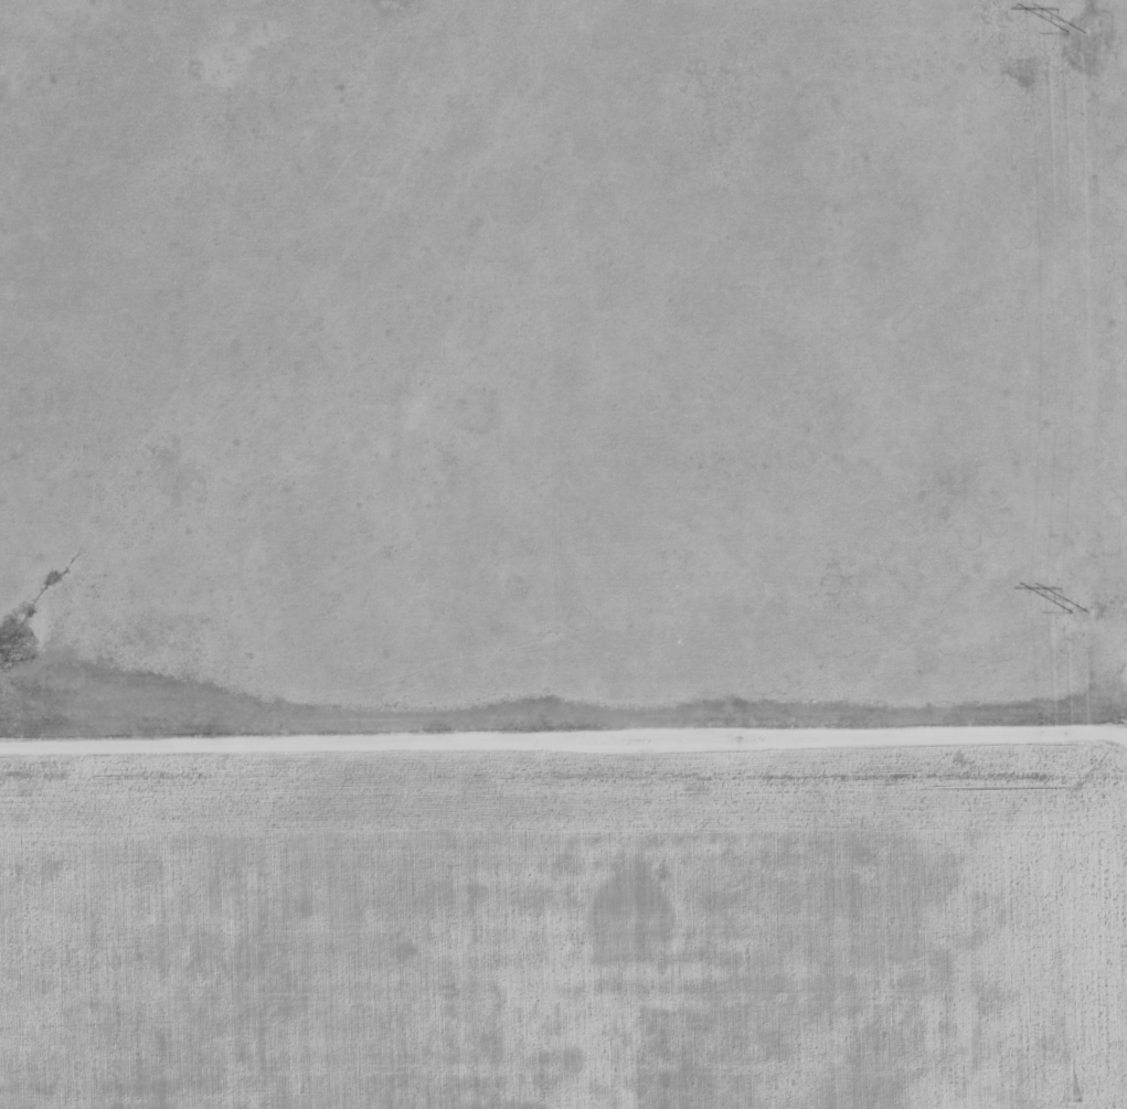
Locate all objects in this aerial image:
power tower: (1075, 35)
power tower: (1078, 618)

